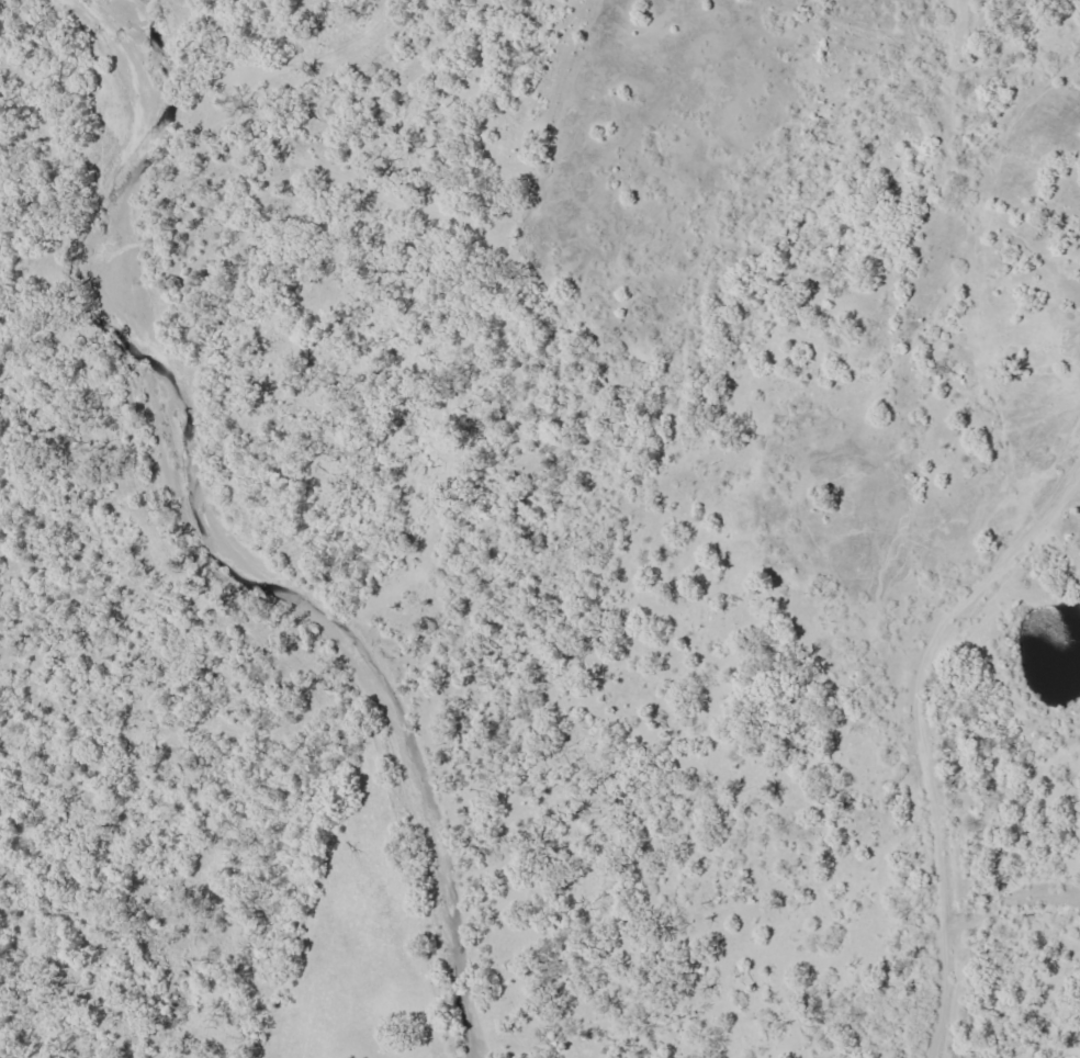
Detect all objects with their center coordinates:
road: (912, 696)
road: (809, 1009)
road: (865, 1021)

